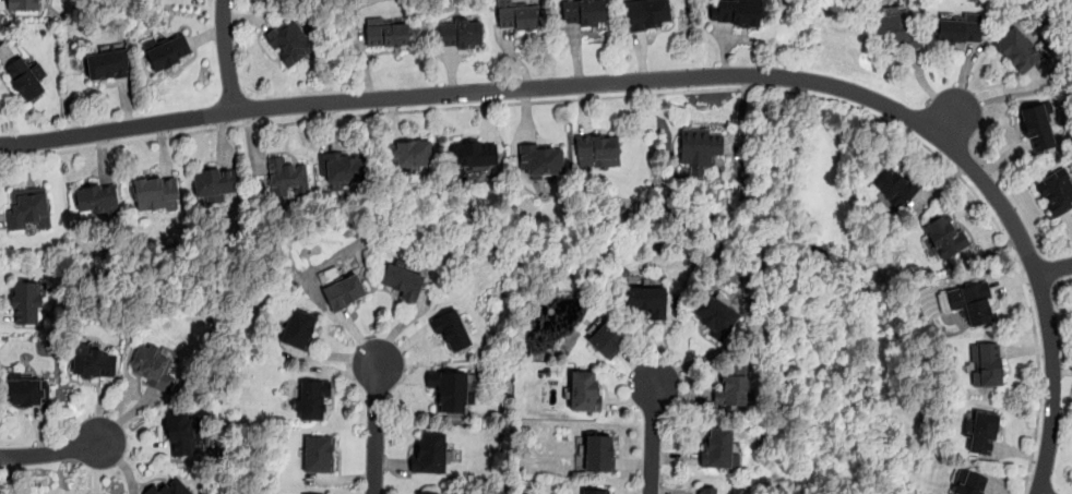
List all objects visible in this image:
building: (305, 0)
building: (23, 4)
building: (583, 12)
building: (735, 12)
building: (646, 13)
building: (520, 15)
building: (894, 27)
building: (958, 28)
building: (460, 32)
building: (386, 33)
building: (289, 43)
building: (1019, 48)
building: (167, 50)
road: (226, 56)
building: (107, 64)
building: (25, 77)
road: (560, 85)
road: (659, 93)
building: (1038, 126)
building: (699, 148)
building: (597, 150)
building: (409, 155)
building: (473, 155)
building: (540, 159)
building: (343, 167)
building: (286, 178)
building: (214, 183)
building: (893, 185)
building: (1056, 190)
building: (155, 192)
building: (96, 200)
building: (28, 207)
building: (944, 236)
road: (1055, 269)
building: (401, 279)
road: (1062, 281)
road: (1038, 287)
building: (344, 291)
building: (646, 300)
building: (27, 302)
building: (973, 302)
building: (714, 315)
building: (298, 328)
building: (451, 330)
building: (604, 338)
building: (92, 361)
building: (986, 364)
building: (152, 365)
road: (1052, 384)
building: (25, 388)
building: (732, 388)
building: (449, 389)
building: (584, 390)
building: (311, 400)
road: (376, 426)
building: (981, 431)
building: (182, 433)
road: (652, 436)
building: (718, 449)
road: (50, 453)
building: (429, 453)
building: (598, 453)
building: (318, 454)
building: (969, 482)
building: (169, 487)
building: (704, 490)
building: (596, 491)
building: (427, 493)

